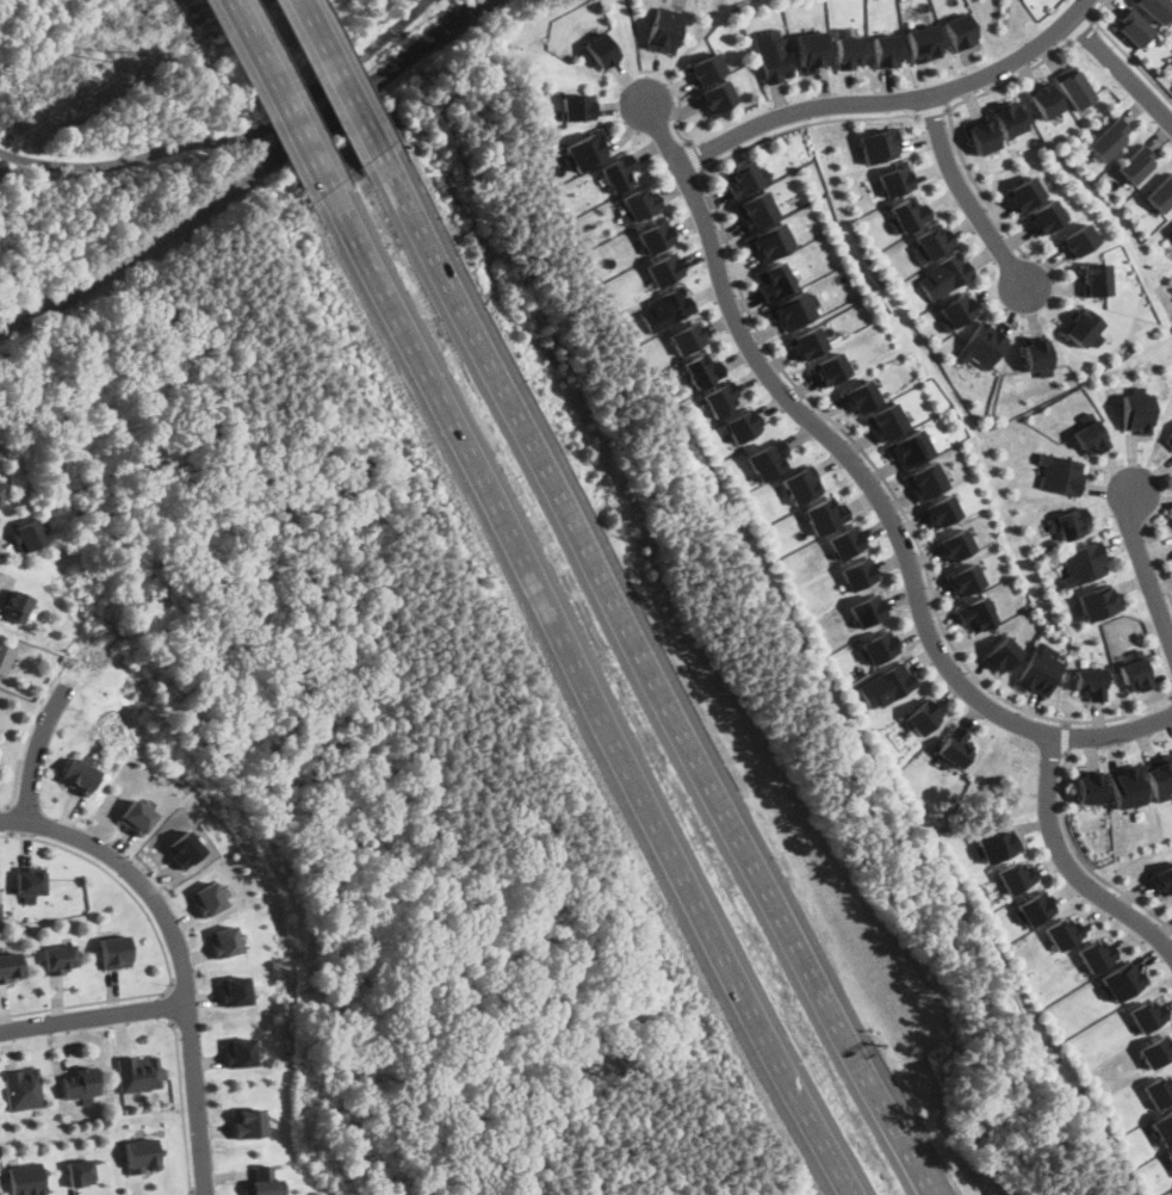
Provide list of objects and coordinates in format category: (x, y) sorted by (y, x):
building: (1154, 11)
road: (1083, 29)
building: (1130, 30)
building: (662, 32)
building: (956, 36)
building: (920, 47)
building: (845, 50)
building: (885, 52)
building: (811, 54)
road: (1126, 54)
building: (599, 55)
power tower: (108, 56)
building: (769, 57)
road: (637, 58)
building: (702, 70)
road: (1118, 70)
road: (1012, 78)
road: (343, 79)
building: (1071, 91)
road: (279, 98)
road: (678, 101)
road: (888, 103)
building: (1042, 104)
building: (717, 105)
road: (935, 111)
building: (575, 113)
building: (1007, 122)
road: (806, 124)
building: (1108, 136)
building: (978, 137)
road: (234, 141)
building: (872, 142)
building: (581, 154)
road: (695, 157)
building: (1135, 161)
building: (744, 174)
railway: (247, 175)
building: (615, 175)
building: (891, 178)
road: (978, 188)
building: (1160, 190)
road: (967, 194)
building: (1019, 194)
building: (638, 206)
building: (757, 210)
building: (905, 210)
building: (1044, 223)
building: (1168, 227)
building: (770, 240)
building: (931, 240)
building: (655, 241)
building: (1078, 244)
building: (947, 273)
building: (664, 274)
building: (773, 280)
building: (1095, 285)
building: (794, 307)
building: (668, 312)
building: (957, 318)
building: (1080, 333)
building: (807, 340)
building: (687, 342)
building: (984, 349)
building: (1038, 354)
building: (829, 365)
building: (702, 376)
building: (860, 390)
building: (719, 401)
building: (886, 417)
building: (1135, 417)
building: (739, 423)
building: (1168, 441)
building: (909, 445)
building: (1090, 445)
building: (763, 459)
building: (925, 477)
building: (1059, 482)
building: (795, 484)
road: (867, 484)
building: (1, 488)
road: (901, 508)
building: (938, 508)
building: (820, 512)
building: (1069, 531)
building: (26, 533)
building: (843, 538)
building: (955, 540)
road: (1, 555)
road: (1158, 559)
building: (855, 570)
road: (1145, 570)
building: (1086, 571)
building: (963, 577)
building: (17, 605)
building: (864, 607)
building: (1100, 612)
building: (974, 613)
building: (875, 643)
building: (5, 656)
building: (1002, 663)
road: (659, 676)
building: (1038, 677)
building: (1134, 677)
building: (1091, 681)
building: (885, 685)
road: (595, 695)
building: (922, 714)
road: (1067, 737)
road: (25, 741)
building: (951, 747)
road: (37, 750)
building: (79, 775)
building: (1160, 786)
building: (1090, 795)
building: (1128, 799)
building: (136, 816)
road: (8, 821)
building: (994, 843)
road: (1083, 861)
road: (1067, 868)
building: (1016, 874)
building: (1164, 879)
building: (30, 881)
building: (209, 896)
building: (1035, 906)
building: (1064, 930)
building: (224, 939)
building: (113, 949)
road: (162, 949)
building: (1097, 953)
road: (178, 955)
building: (58, 958)
building: (10, 965)
building: (1121, 980)
building: (234, 990)
road: (168, 1008)
building: (1148, 1013)
road: (93, 1016)
building: (1154, 1050)
building: (238, 1051)
building: (139, 1071)
building: (81, 1084)
building: (24, 1088)
building: (1159, 1089)
road: (185, 1108)
building: (248, 1121)
building: (1161, 1126)
building: (142, 1154)
building: (1168, 1156)
building: (81, 1171)
building: (27, 1179)
building: (263, 1181)

